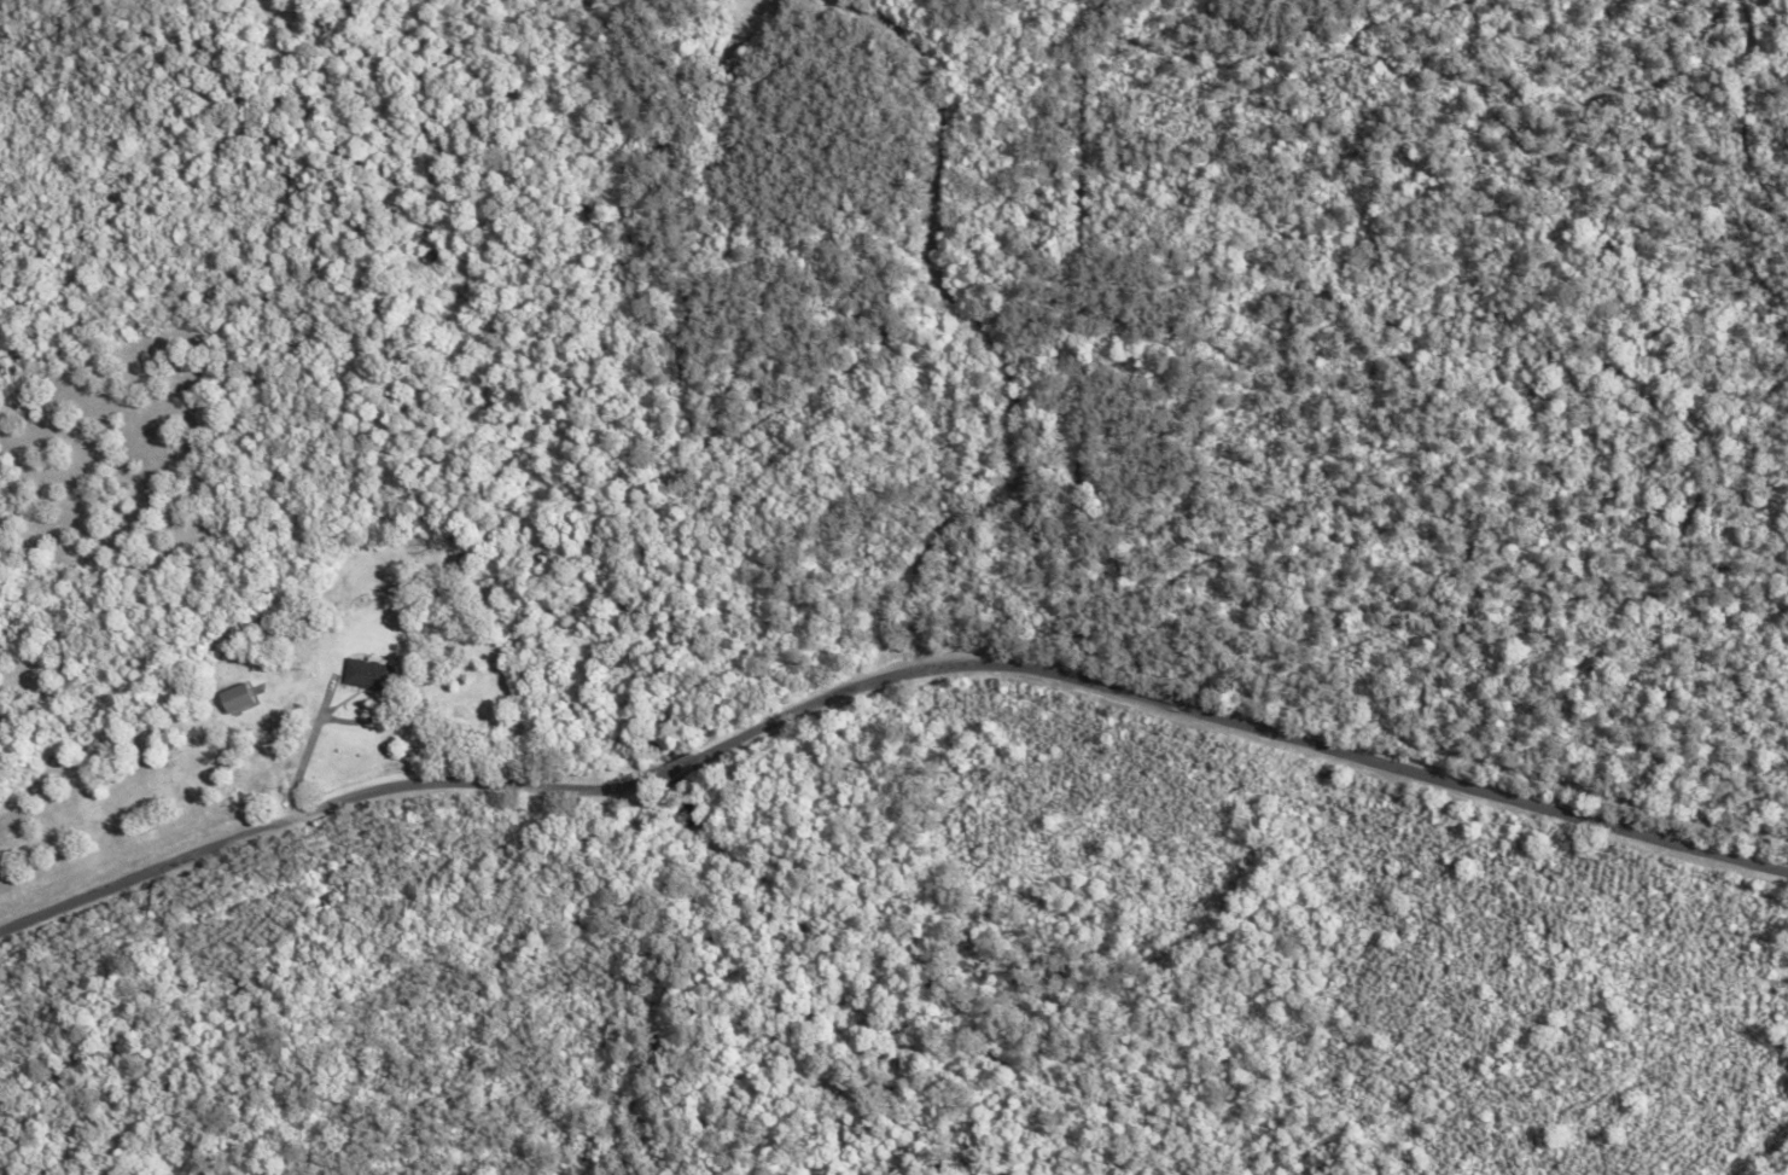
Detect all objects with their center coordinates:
road: (885, 680)
building: (238, 697)

